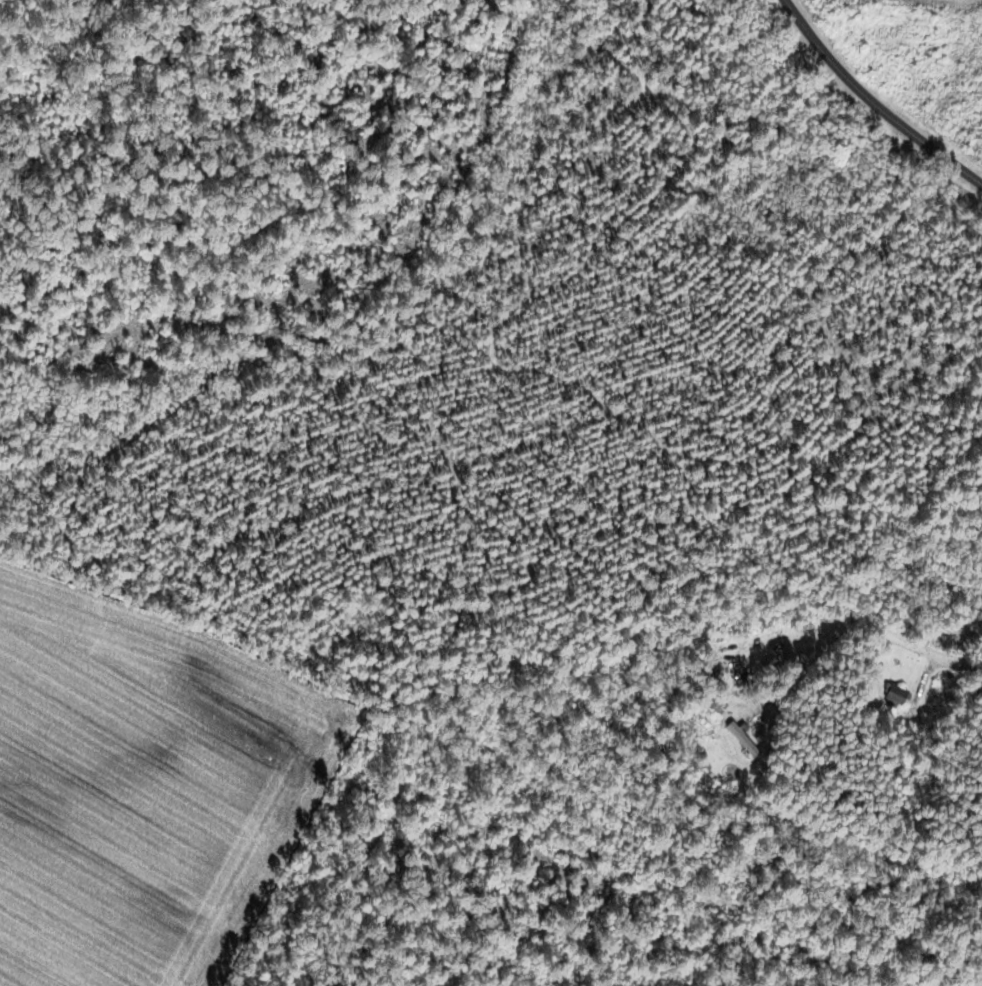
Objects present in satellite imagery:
road: (874, 102)
building: (893, 697)
building: (739, 739)
road: (877, 858)

